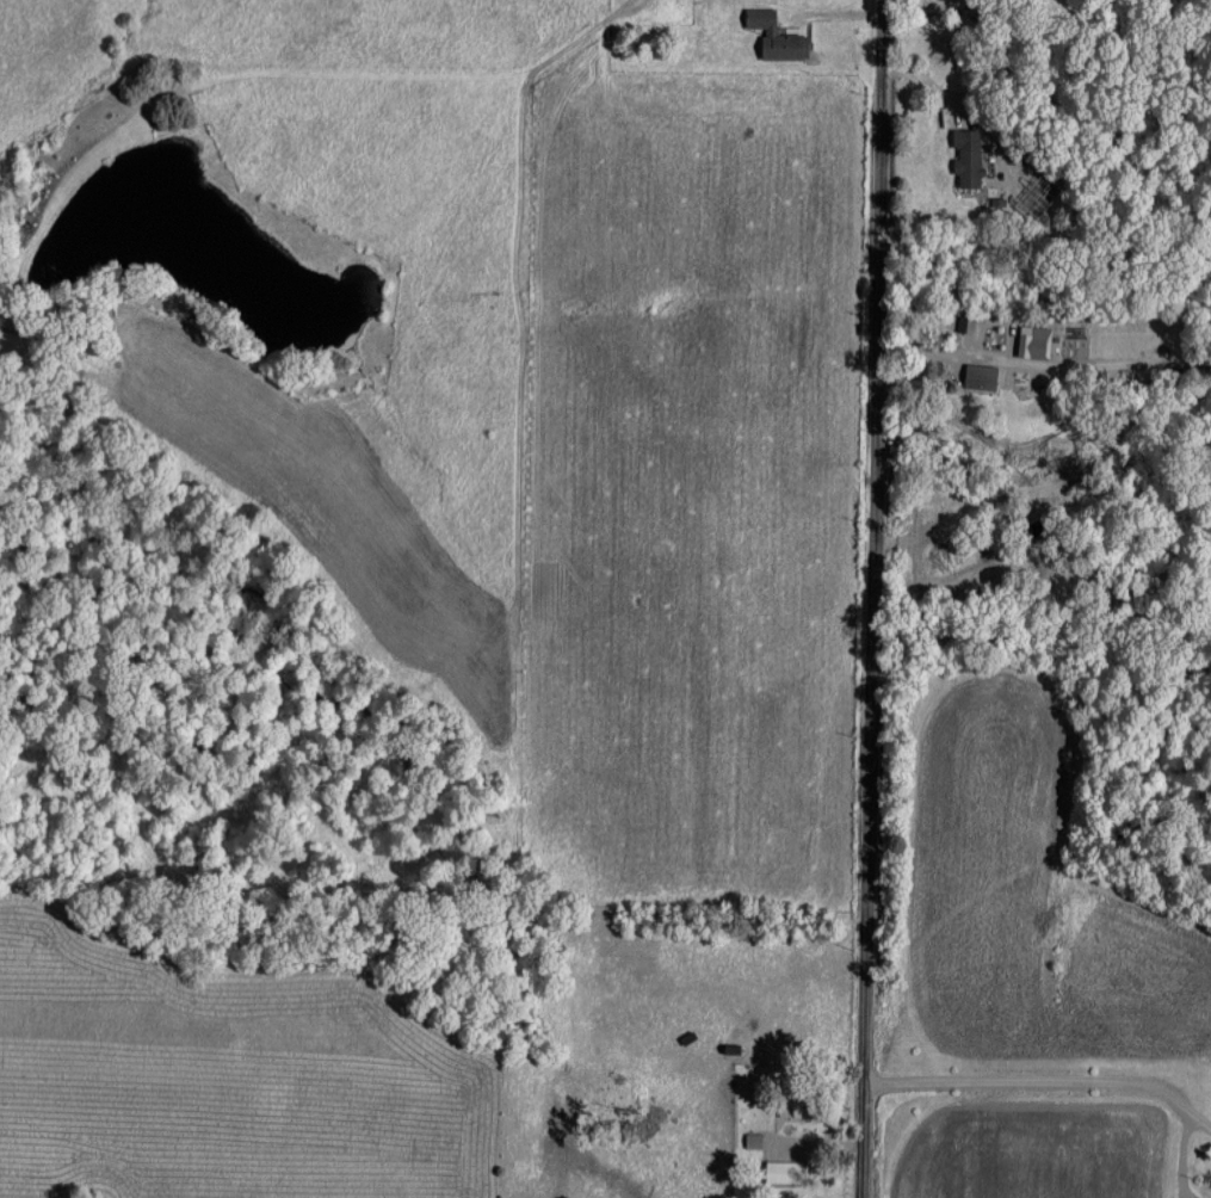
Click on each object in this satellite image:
building: (776, 35)
building: (968, 155)
building: (1000, 194)
building: (1033, 340)
building: (980, 376)
road: (871, 599)
road: (1045, 1076)
building: (793, 1105)
building: (753, 1140)
building: (785, 1171)

